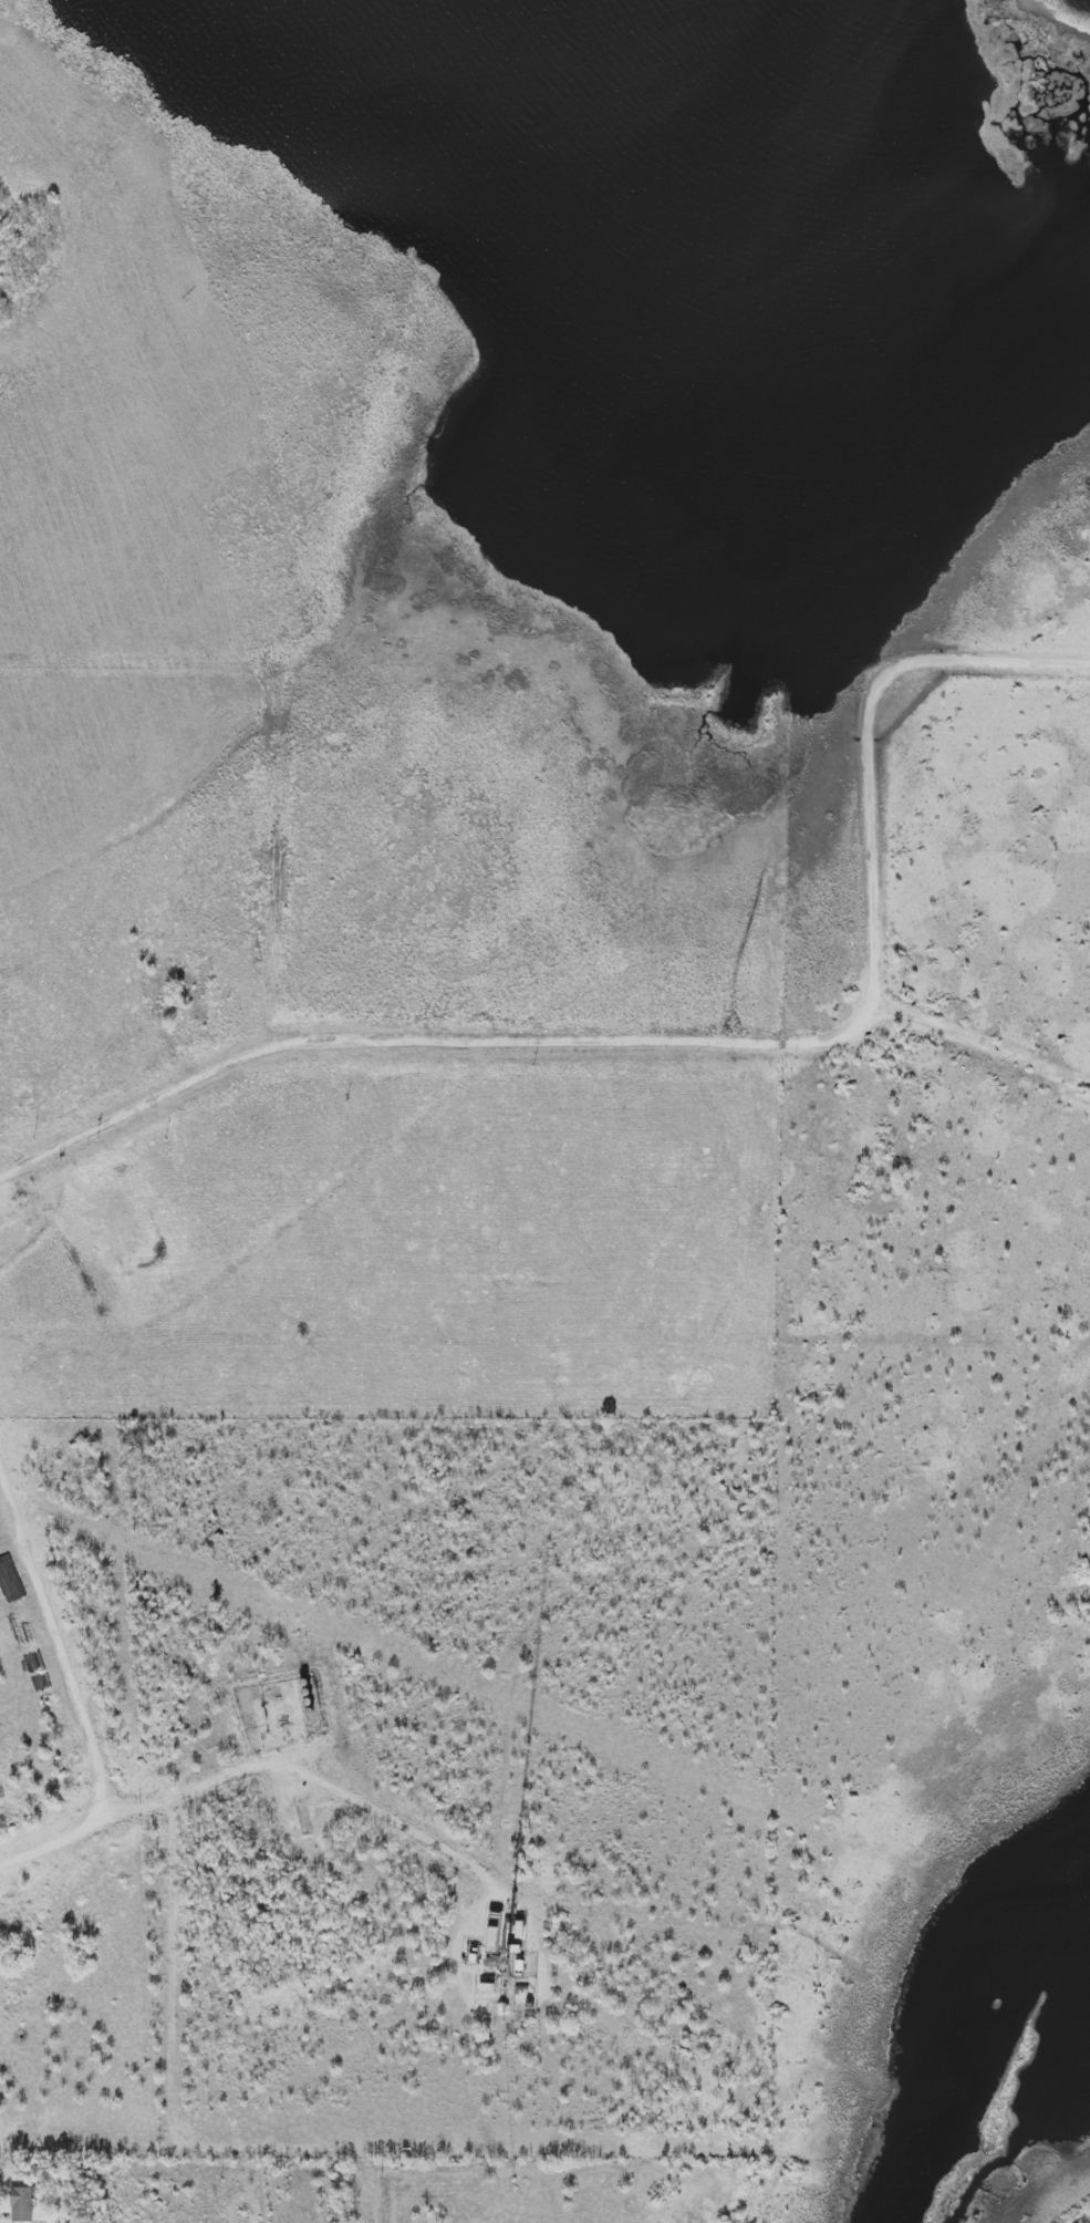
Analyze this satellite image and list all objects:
road: (700, 1045)
road: (77, 1703)
road: (316, 1781)
building: (21, 2204)

